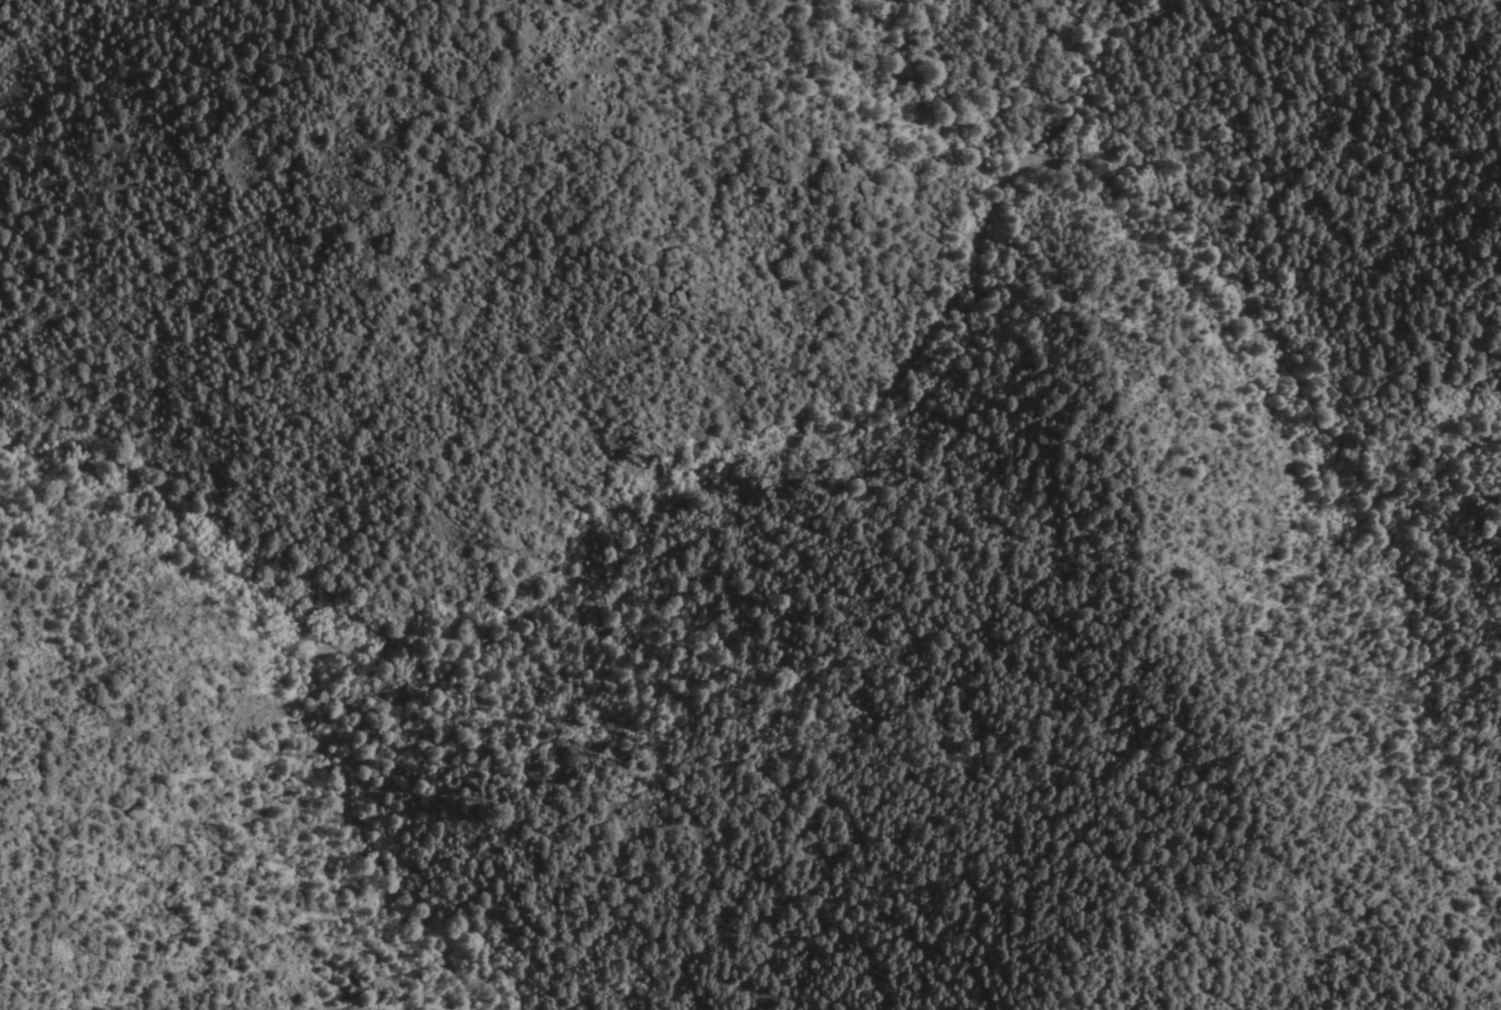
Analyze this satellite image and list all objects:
road: (538, 31)
road: (1223, 273)
road: (589, 531)

